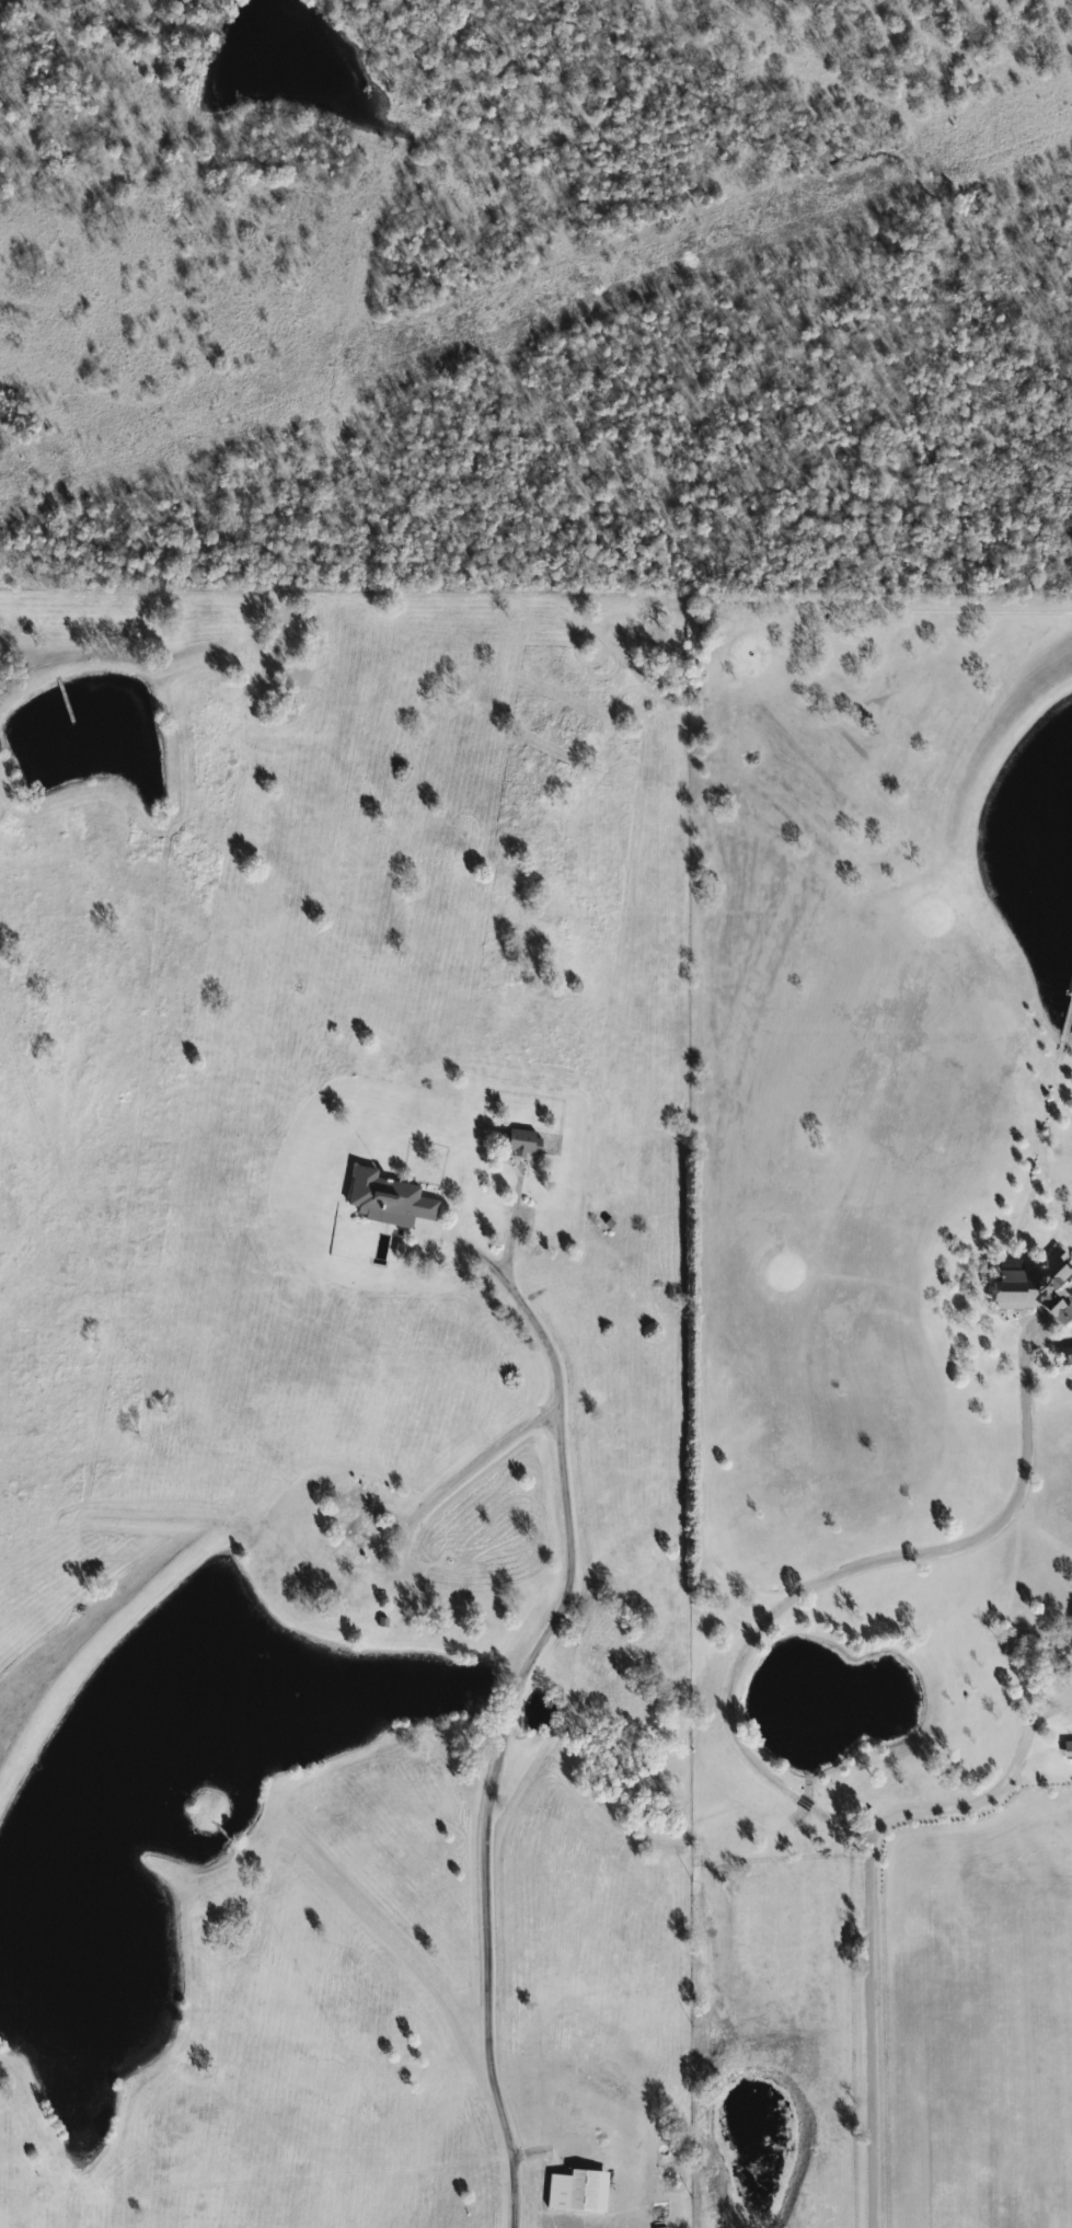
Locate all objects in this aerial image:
road: (978, 604)
building: (527, 1140)
building: (391, 1198)
building: (1037, 1284)
building: (356, 1540)
road: (841, 1567)
road: (500, 1738)
building: (1069, 1746)
building: (796, 1815)
road: (867, 1894)
building: (579, 2189)

